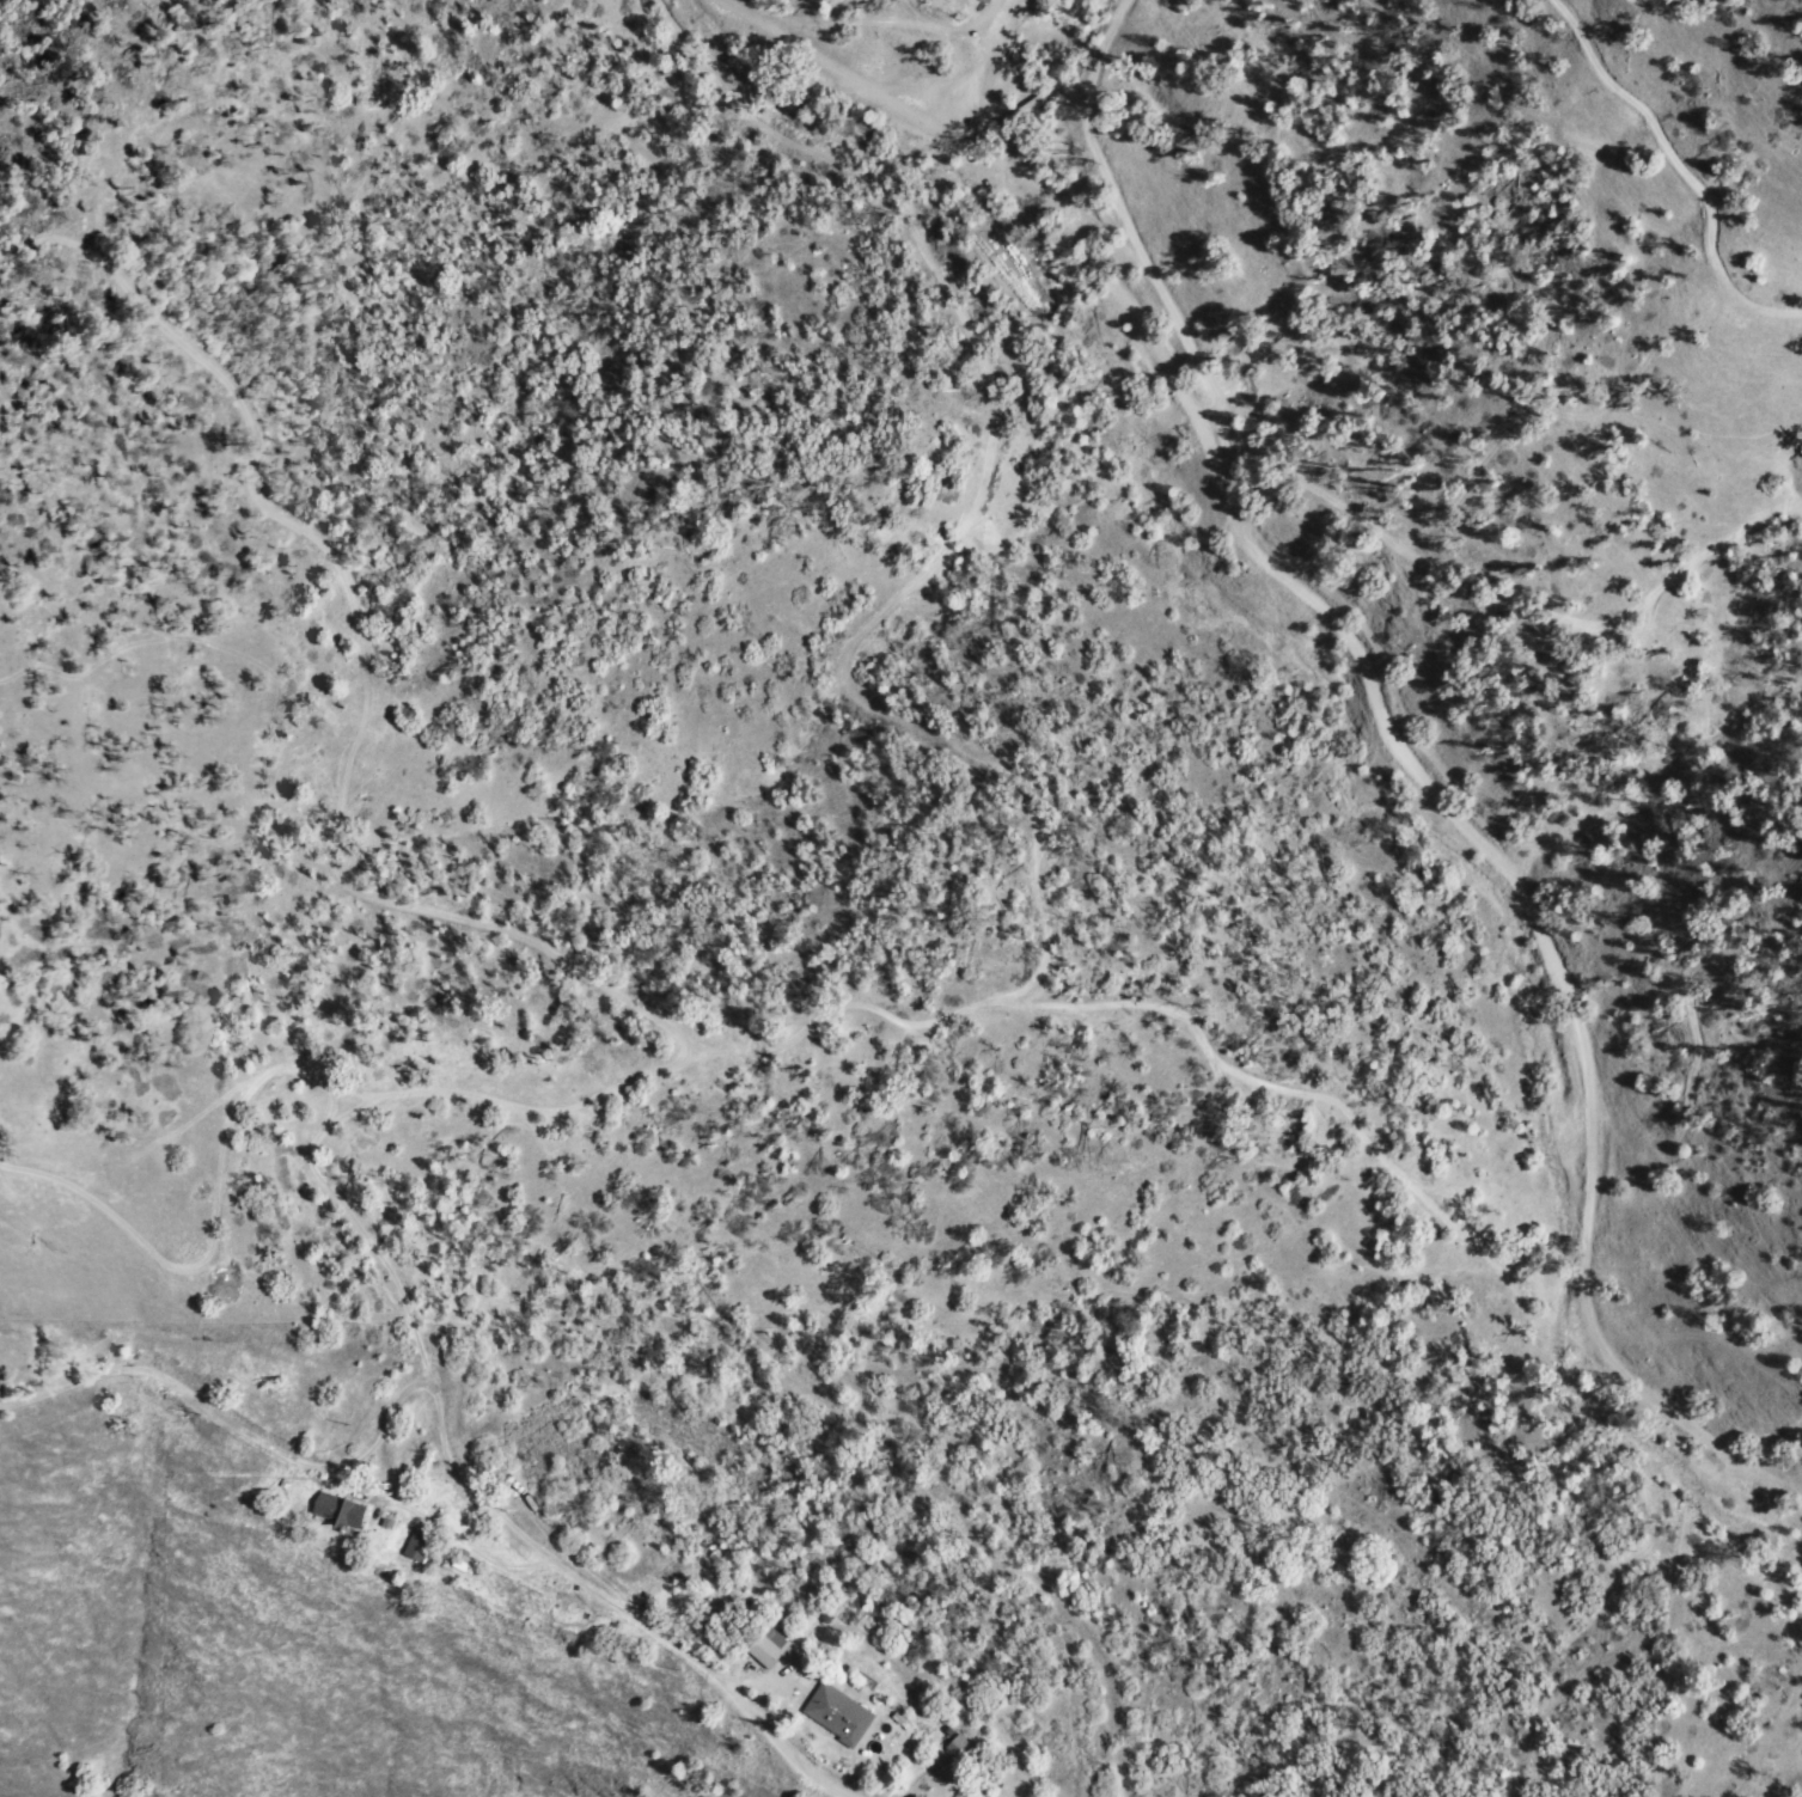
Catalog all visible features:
road: (1369, 684)
road: (265, 1437)
building: (341, 1511)
building: (420, 1545)
road: (646, 1624)
building: (772, 1649)
building: (841, 1715)
building: (963, 1750)

